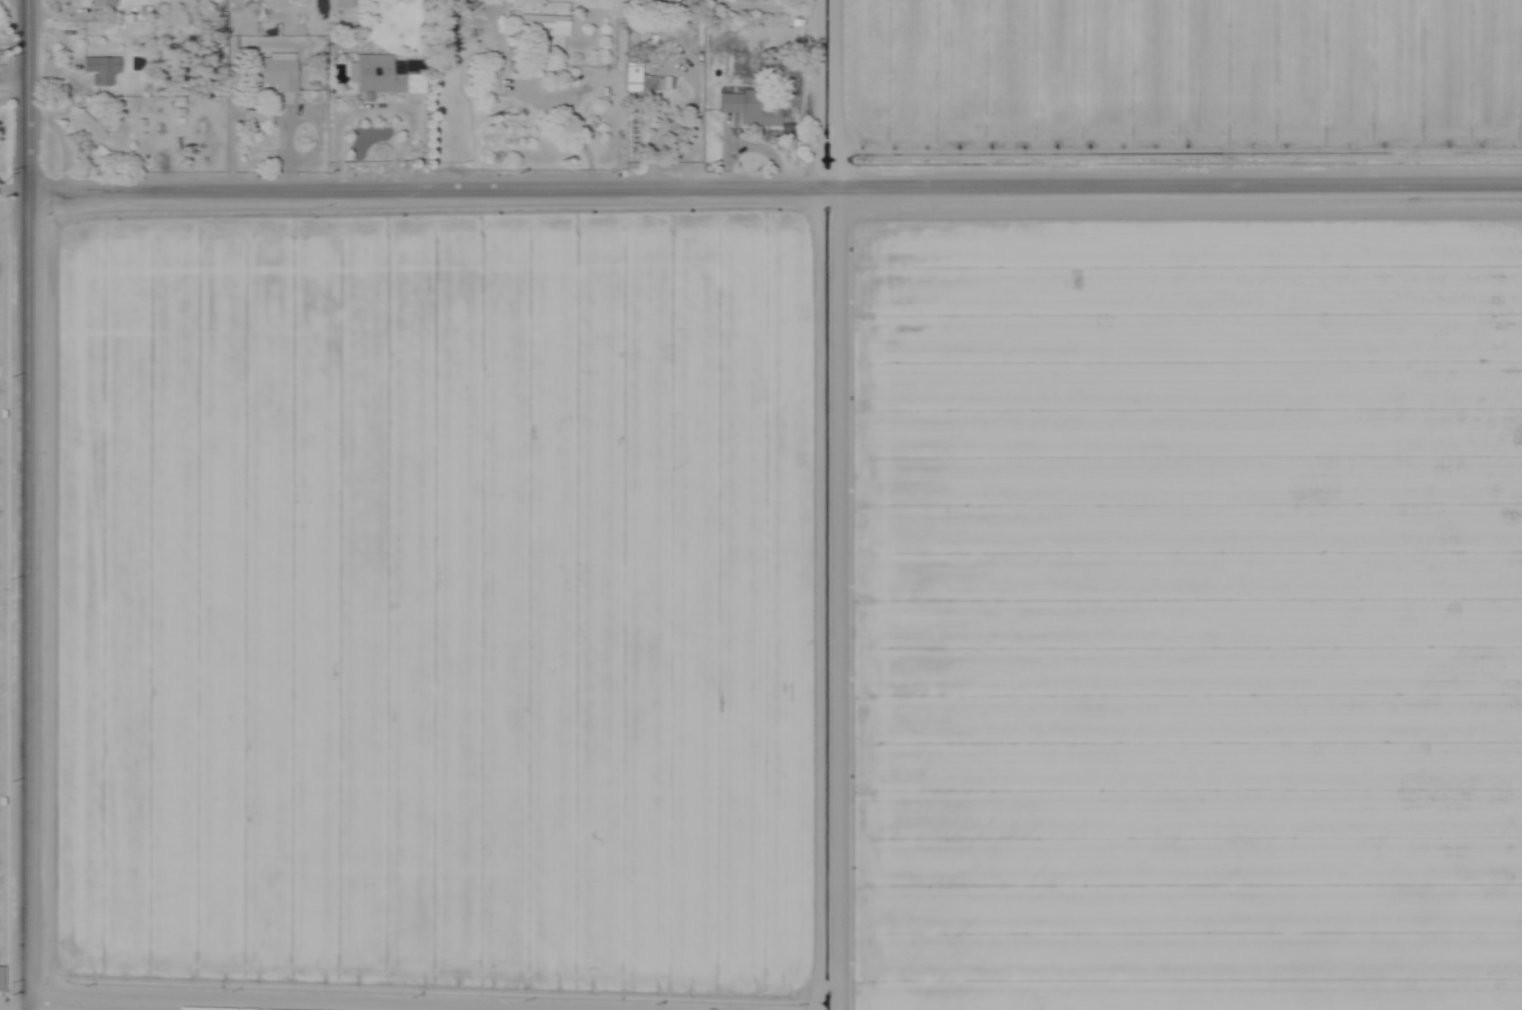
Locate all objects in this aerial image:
building: (95, 4)
building: (536, 40)
building: (270, 72)
building: (377, 76)
building: (629, 78)
building: (486, 79)
road: (13, 80)
building: (741, 109)
building: (83, 137)
road: (761, 193)
road: (16, 504)

